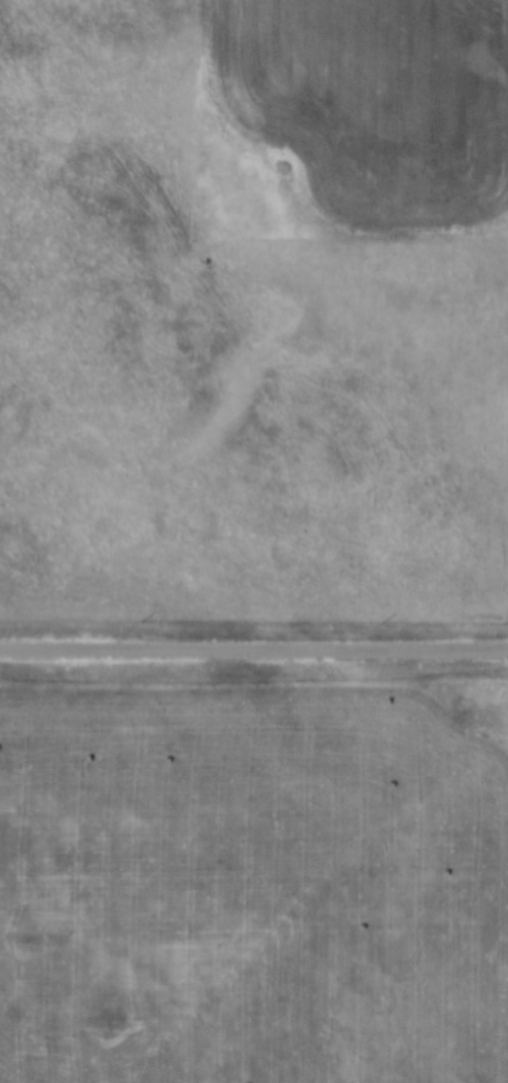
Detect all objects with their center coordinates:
road: (254, 649)

